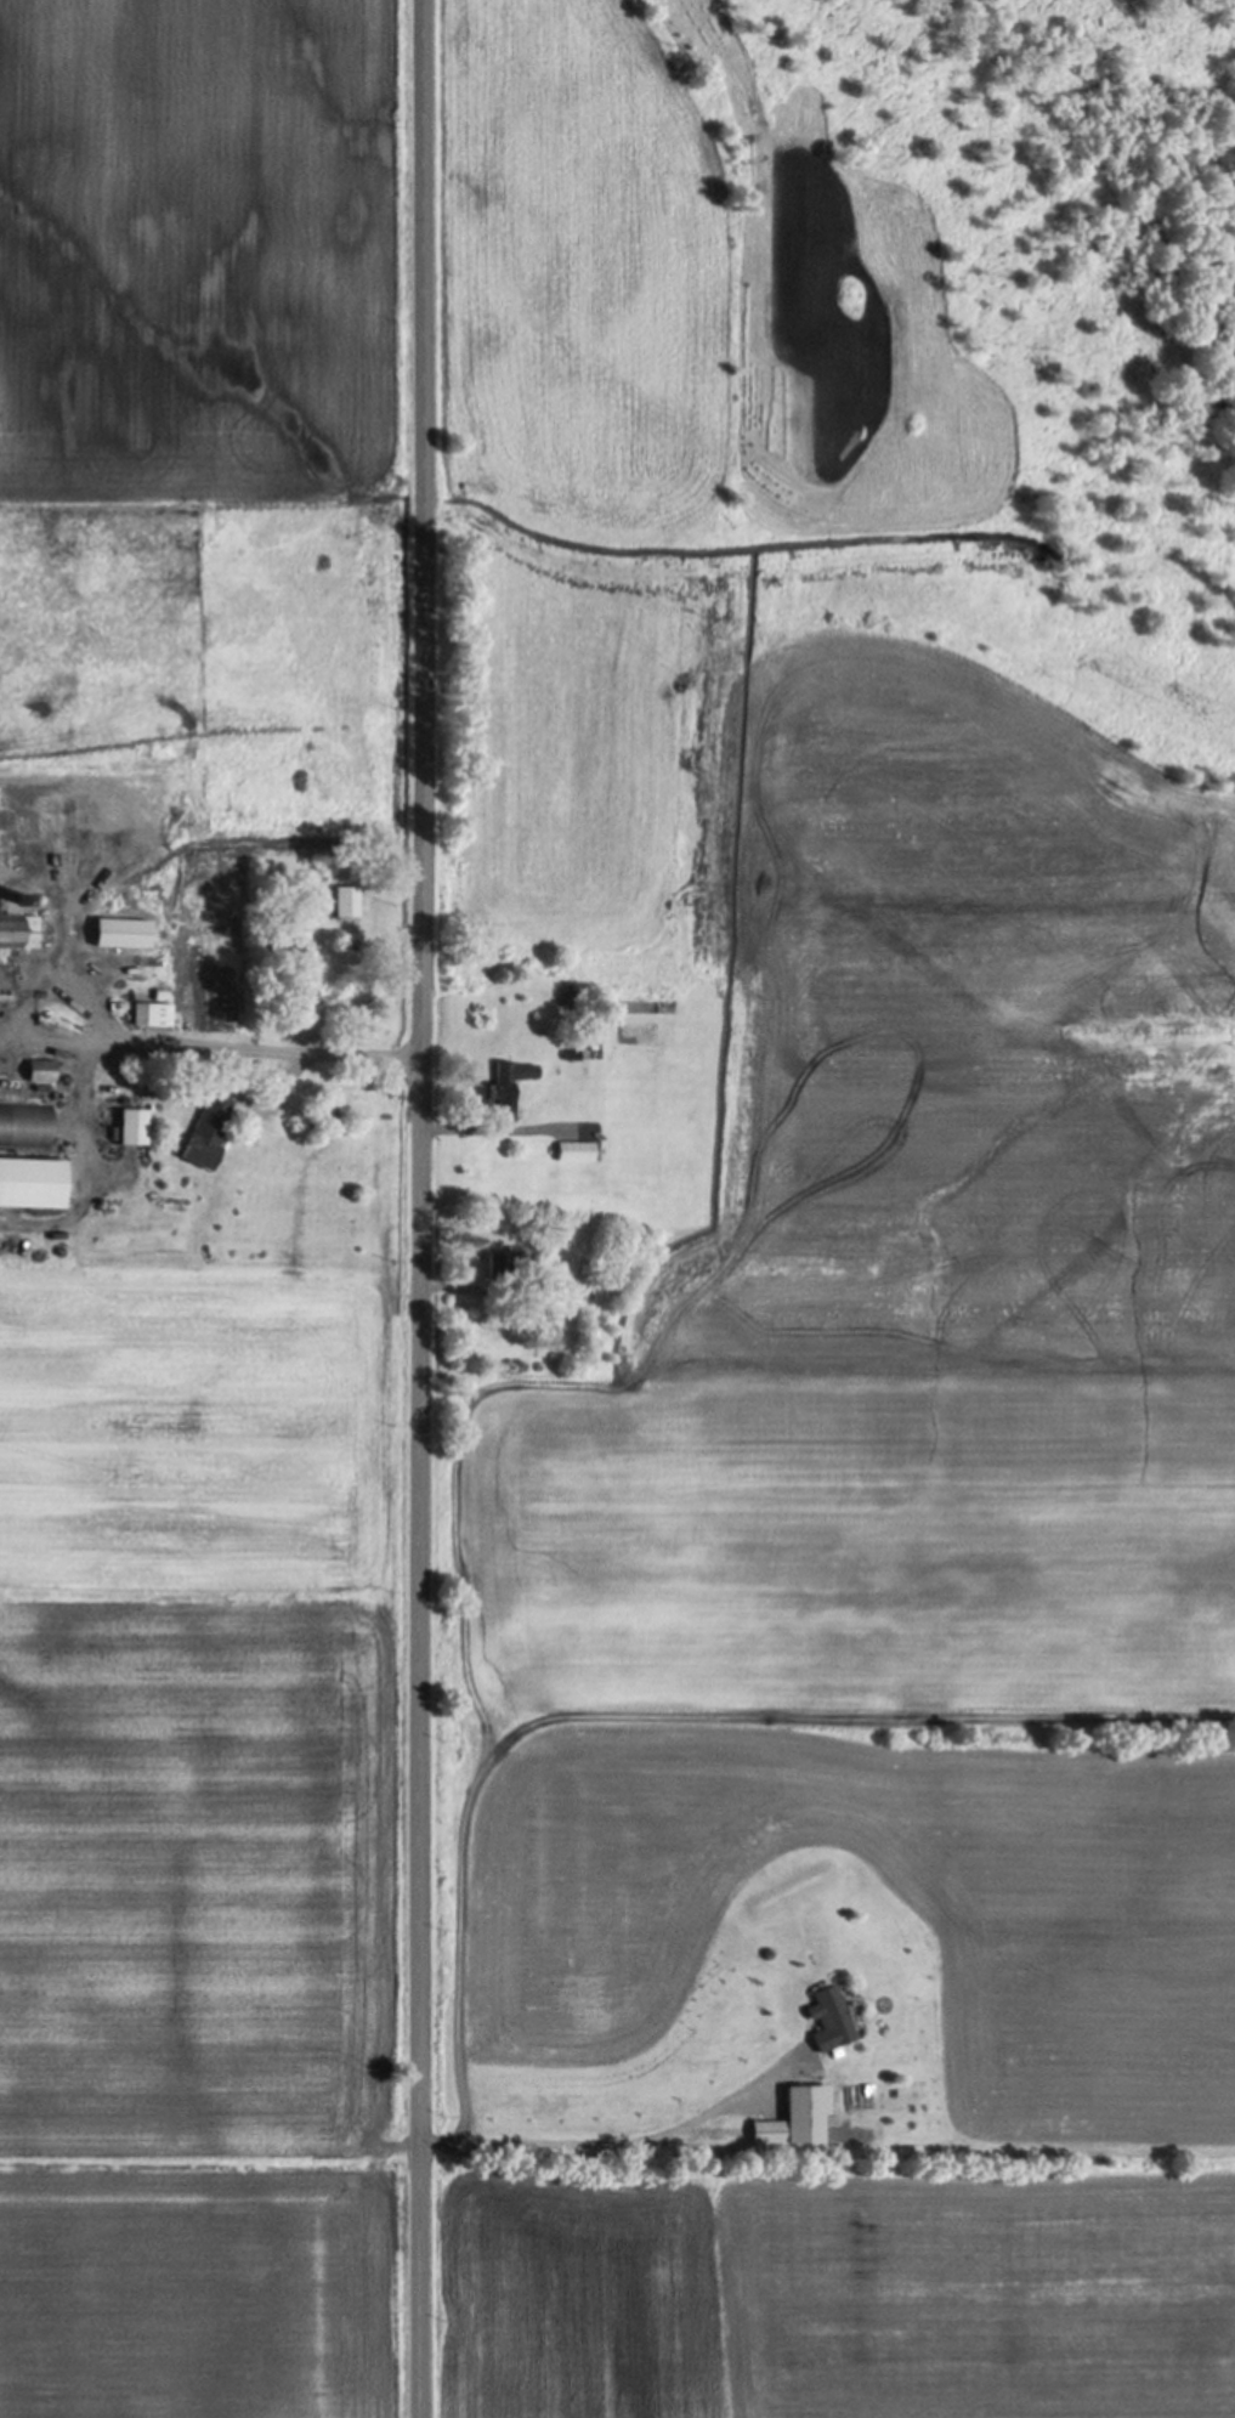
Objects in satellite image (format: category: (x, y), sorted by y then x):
building: (80, 806)
building: (346, 902)
building: (18, 931)
building: (120, 934)
building: (152, 1014)
road: (213, 1047)
building: (39, 1071)
building: (506, 1081)
building: (24, 1127)
building: (130, 1127)
building: (208, 1131)
road: (504, 1139)
building: (573, 1151)
road: (417, 1208)
building: (502, 1264)
building: (828, 2015)
building: (767, 2133)
road: (623, 2145)

